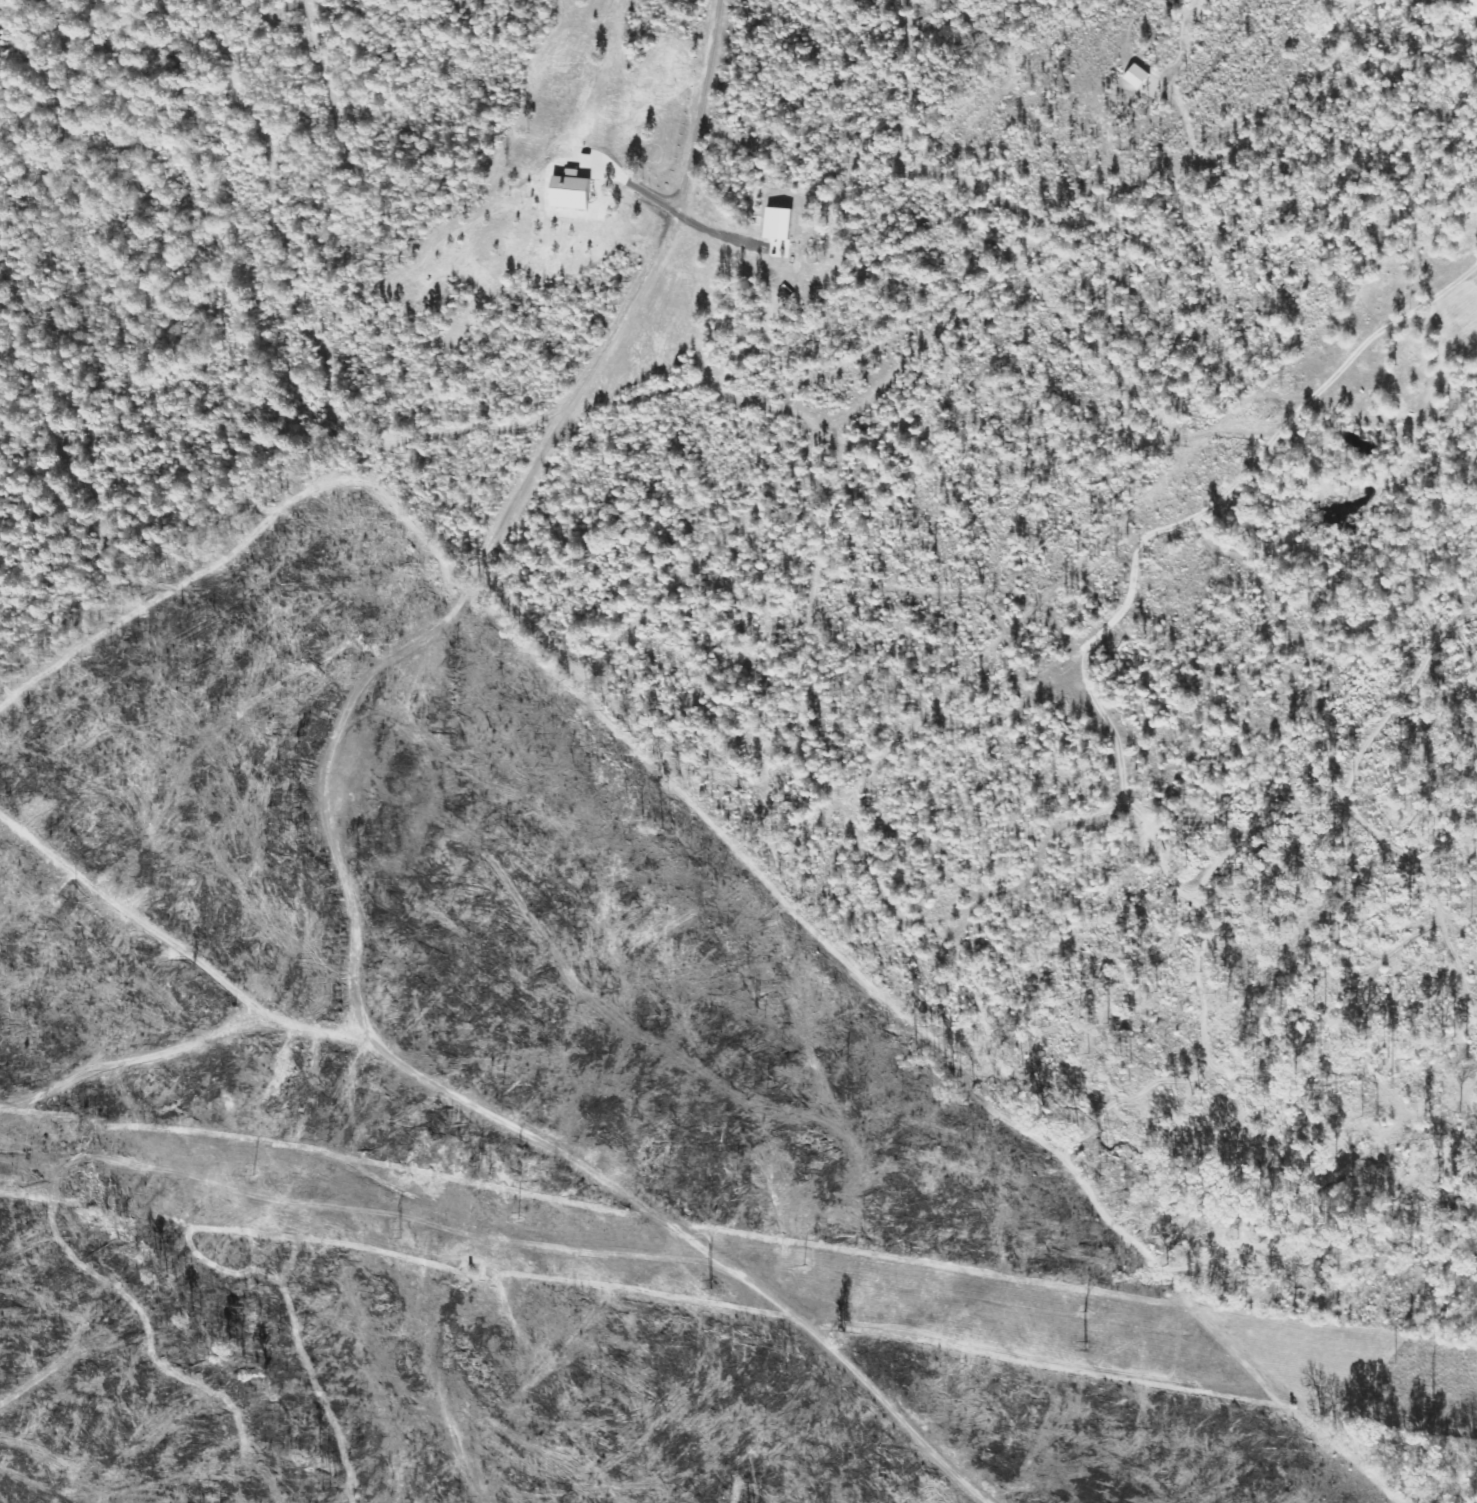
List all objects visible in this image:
building: (1142, 77)
building: (579, 192)

